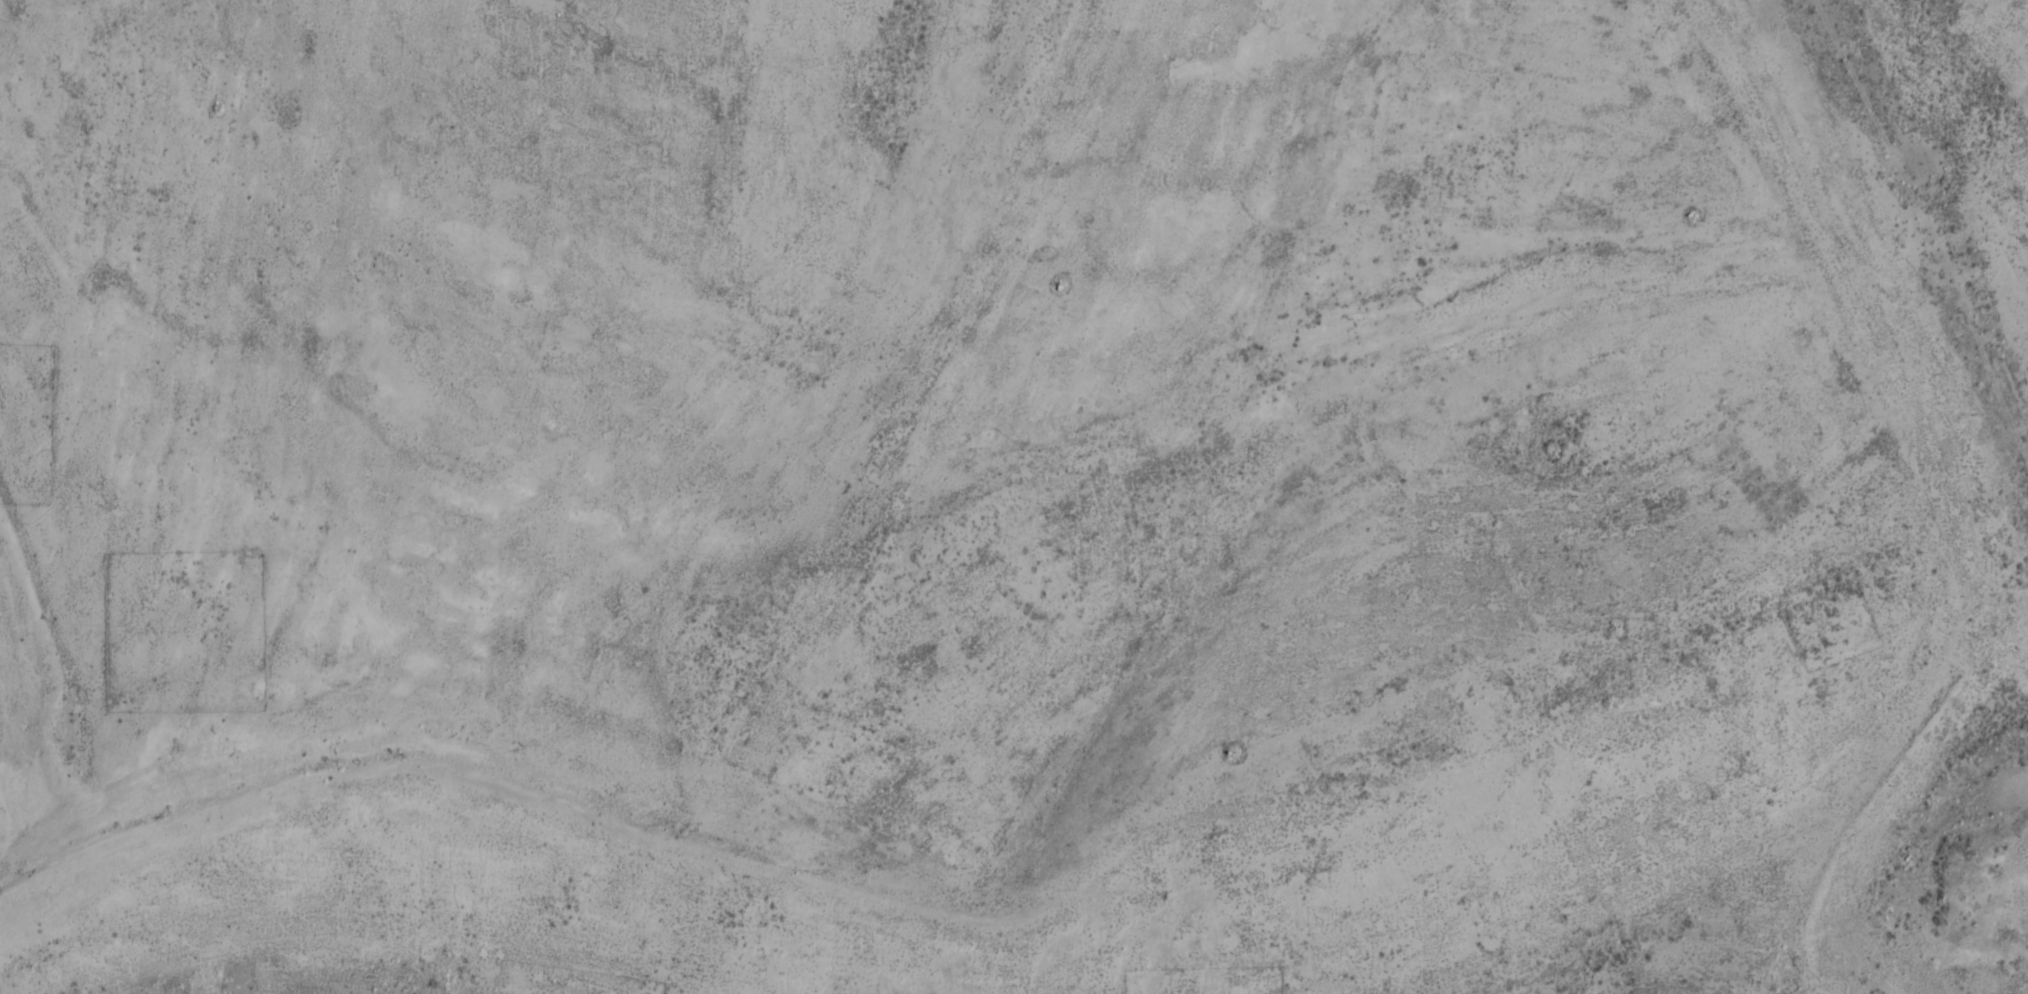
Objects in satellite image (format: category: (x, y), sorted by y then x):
road: (1924, 215)

